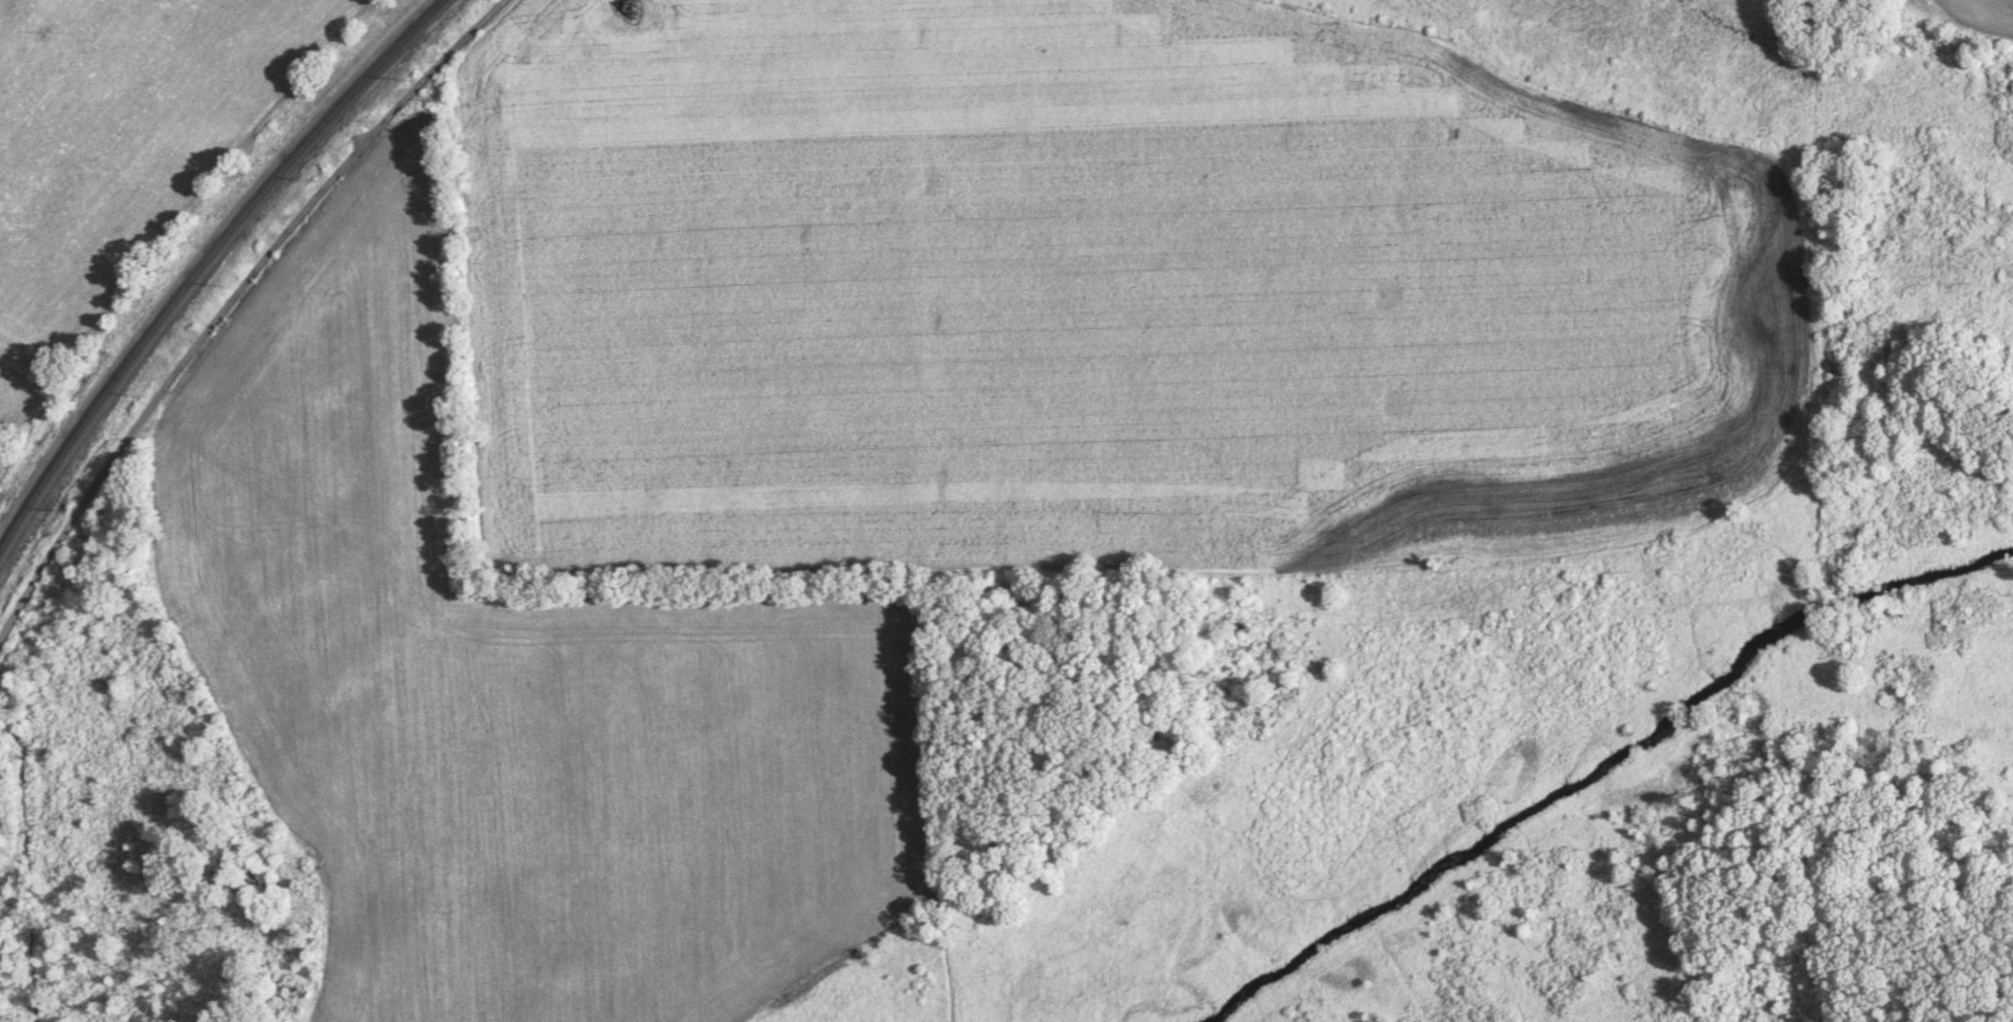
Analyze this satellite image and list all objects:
railway: (206, 264)
road: (230, 303)

